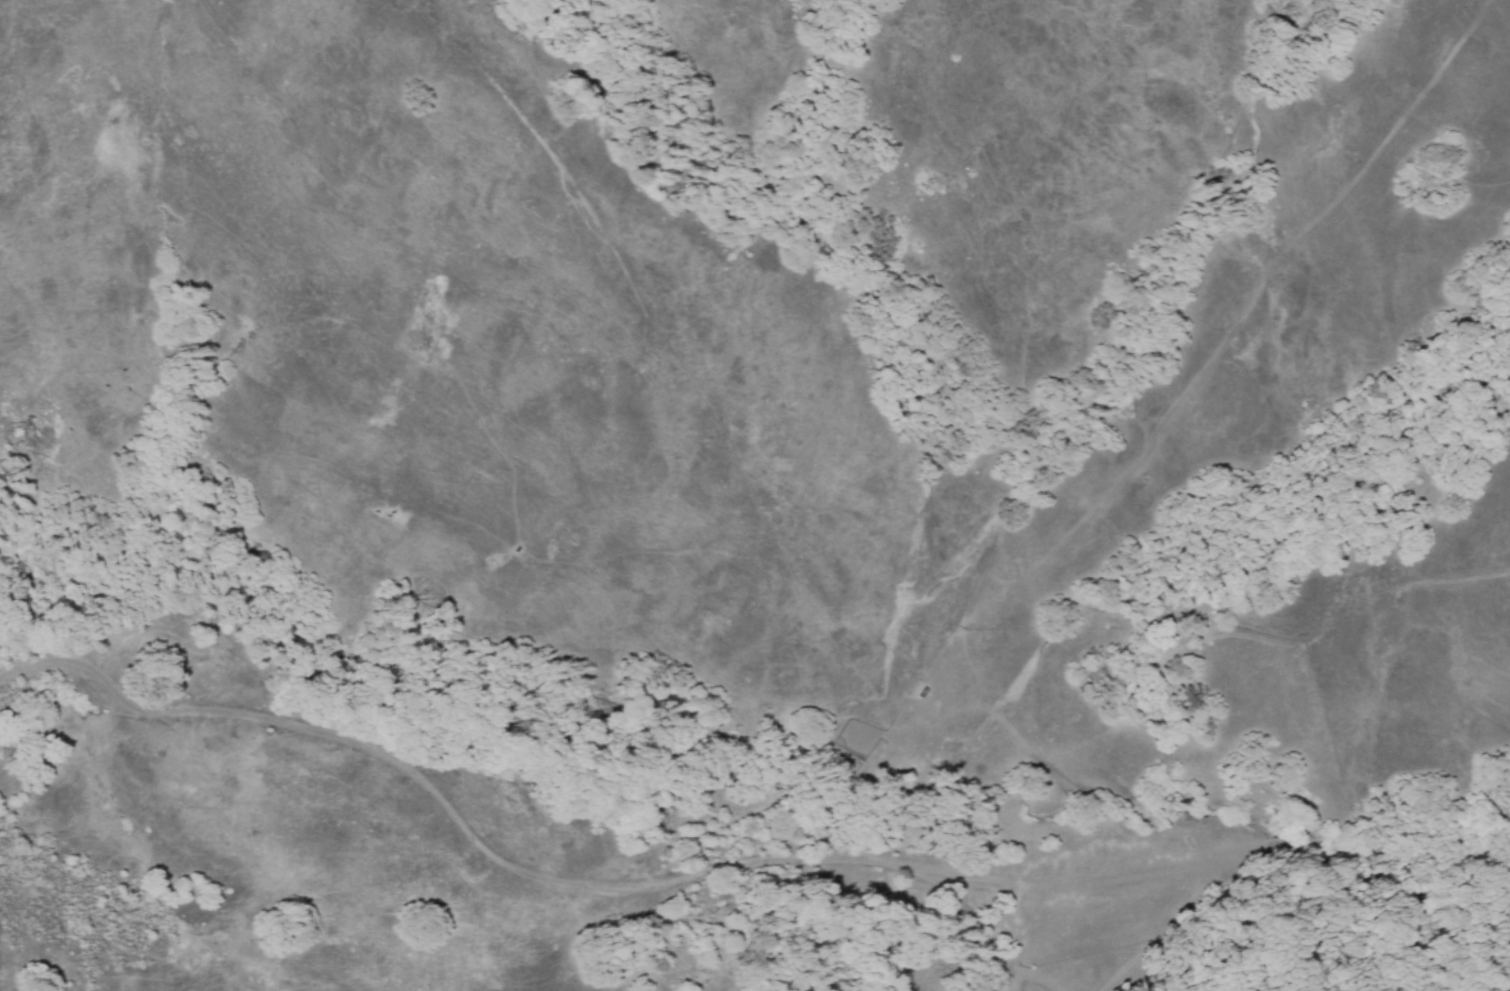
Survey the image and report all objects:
road: (270, 763)

